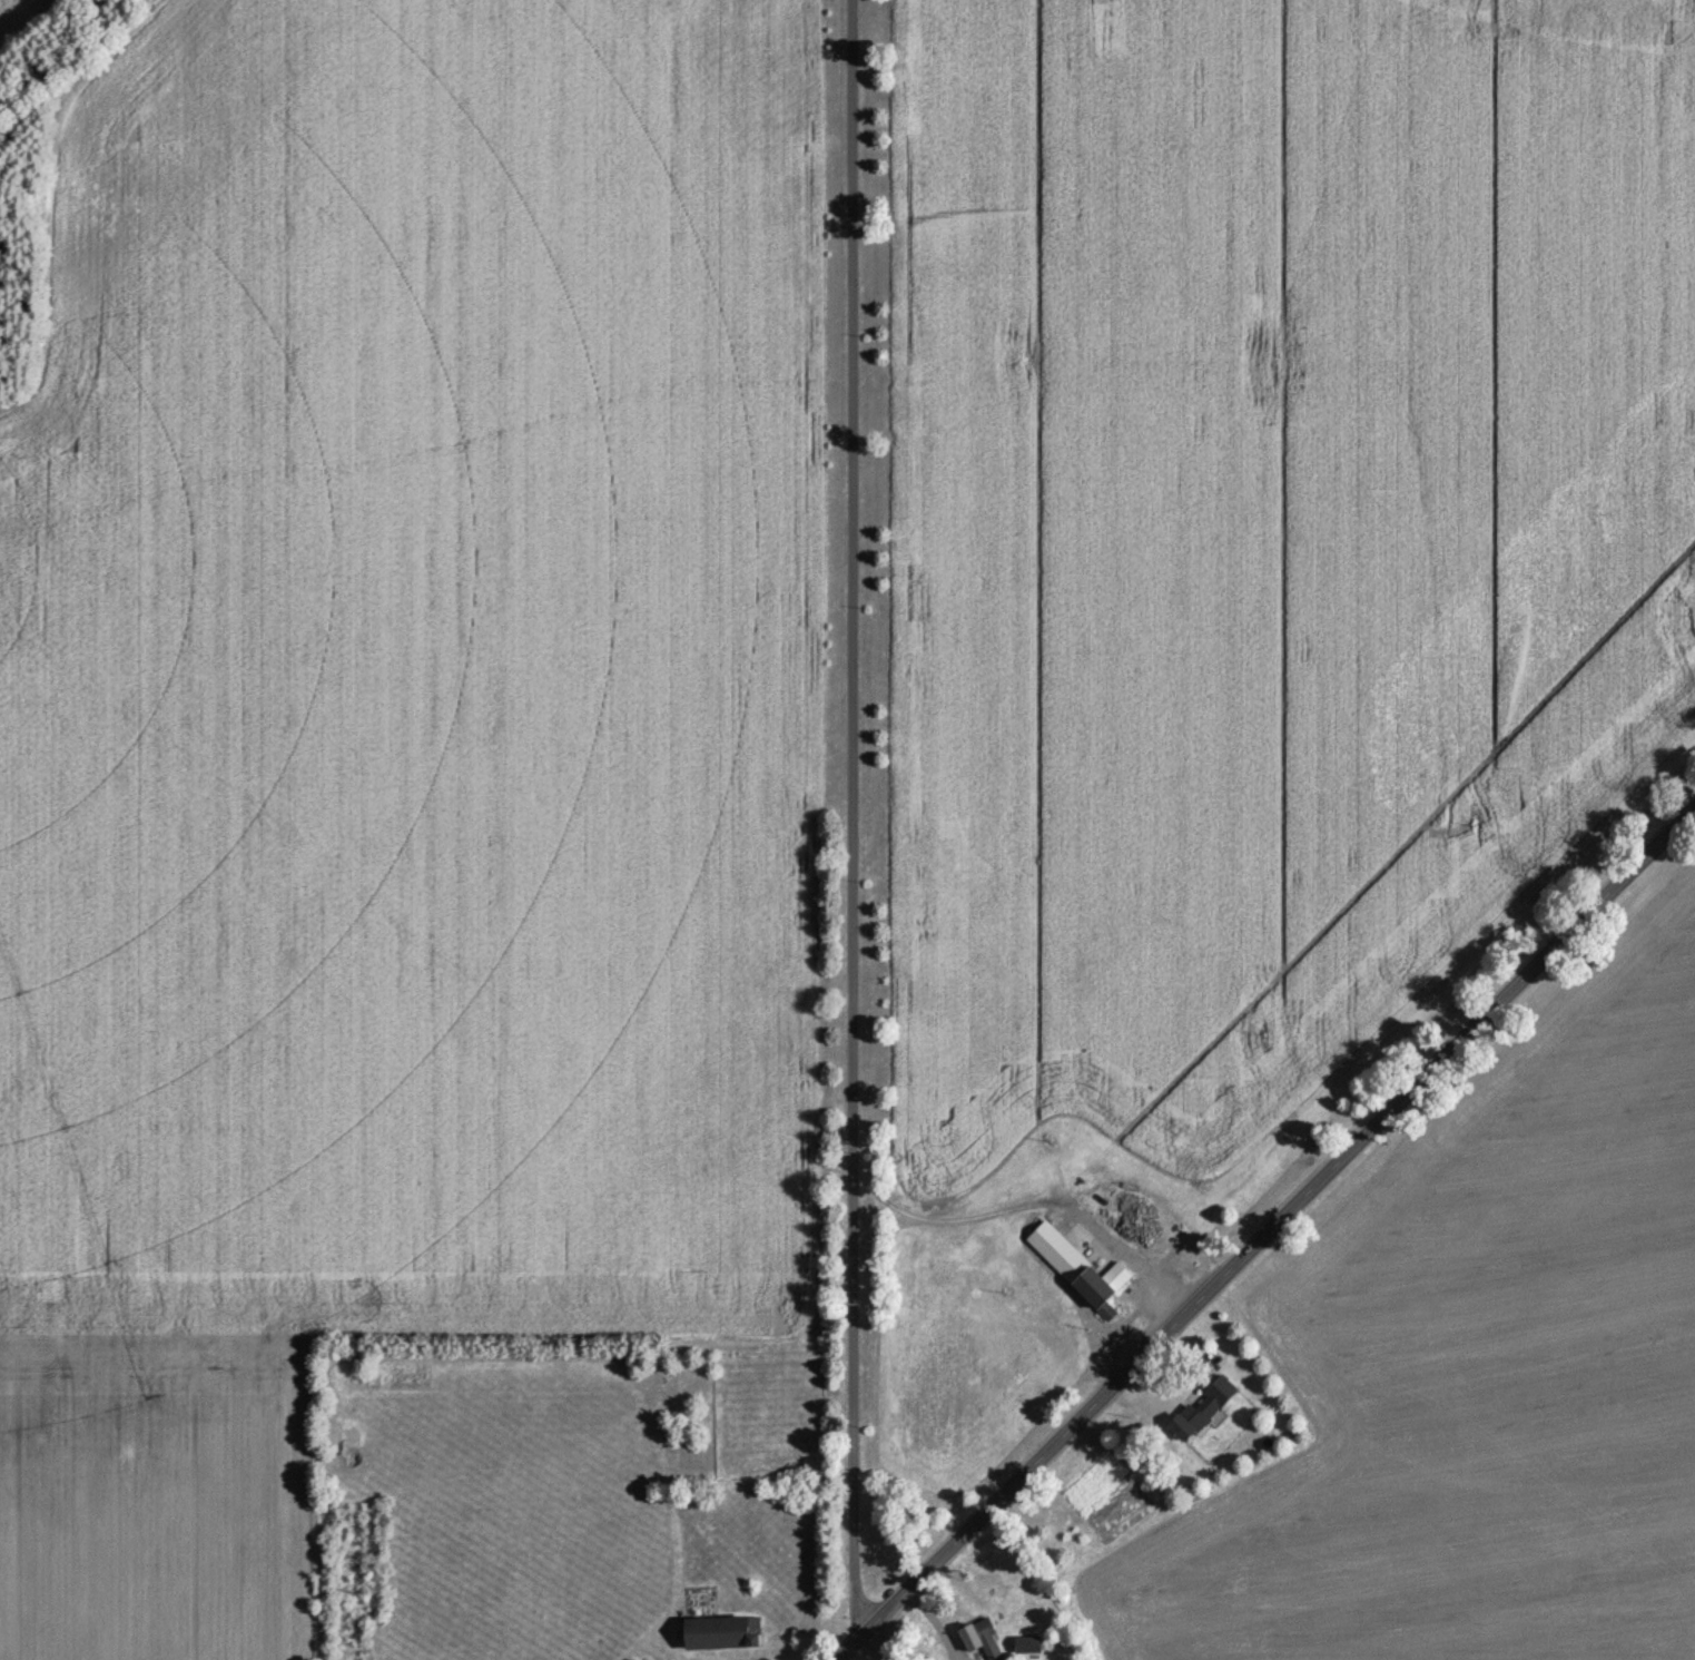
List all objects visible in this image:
road: (1261, 1217)
building: (1080, 1271)
building: (1203, 1411)
building: (722, 1637)
road: (881, 1638)
building: (980, 1642)
building: (1027, 1648)

